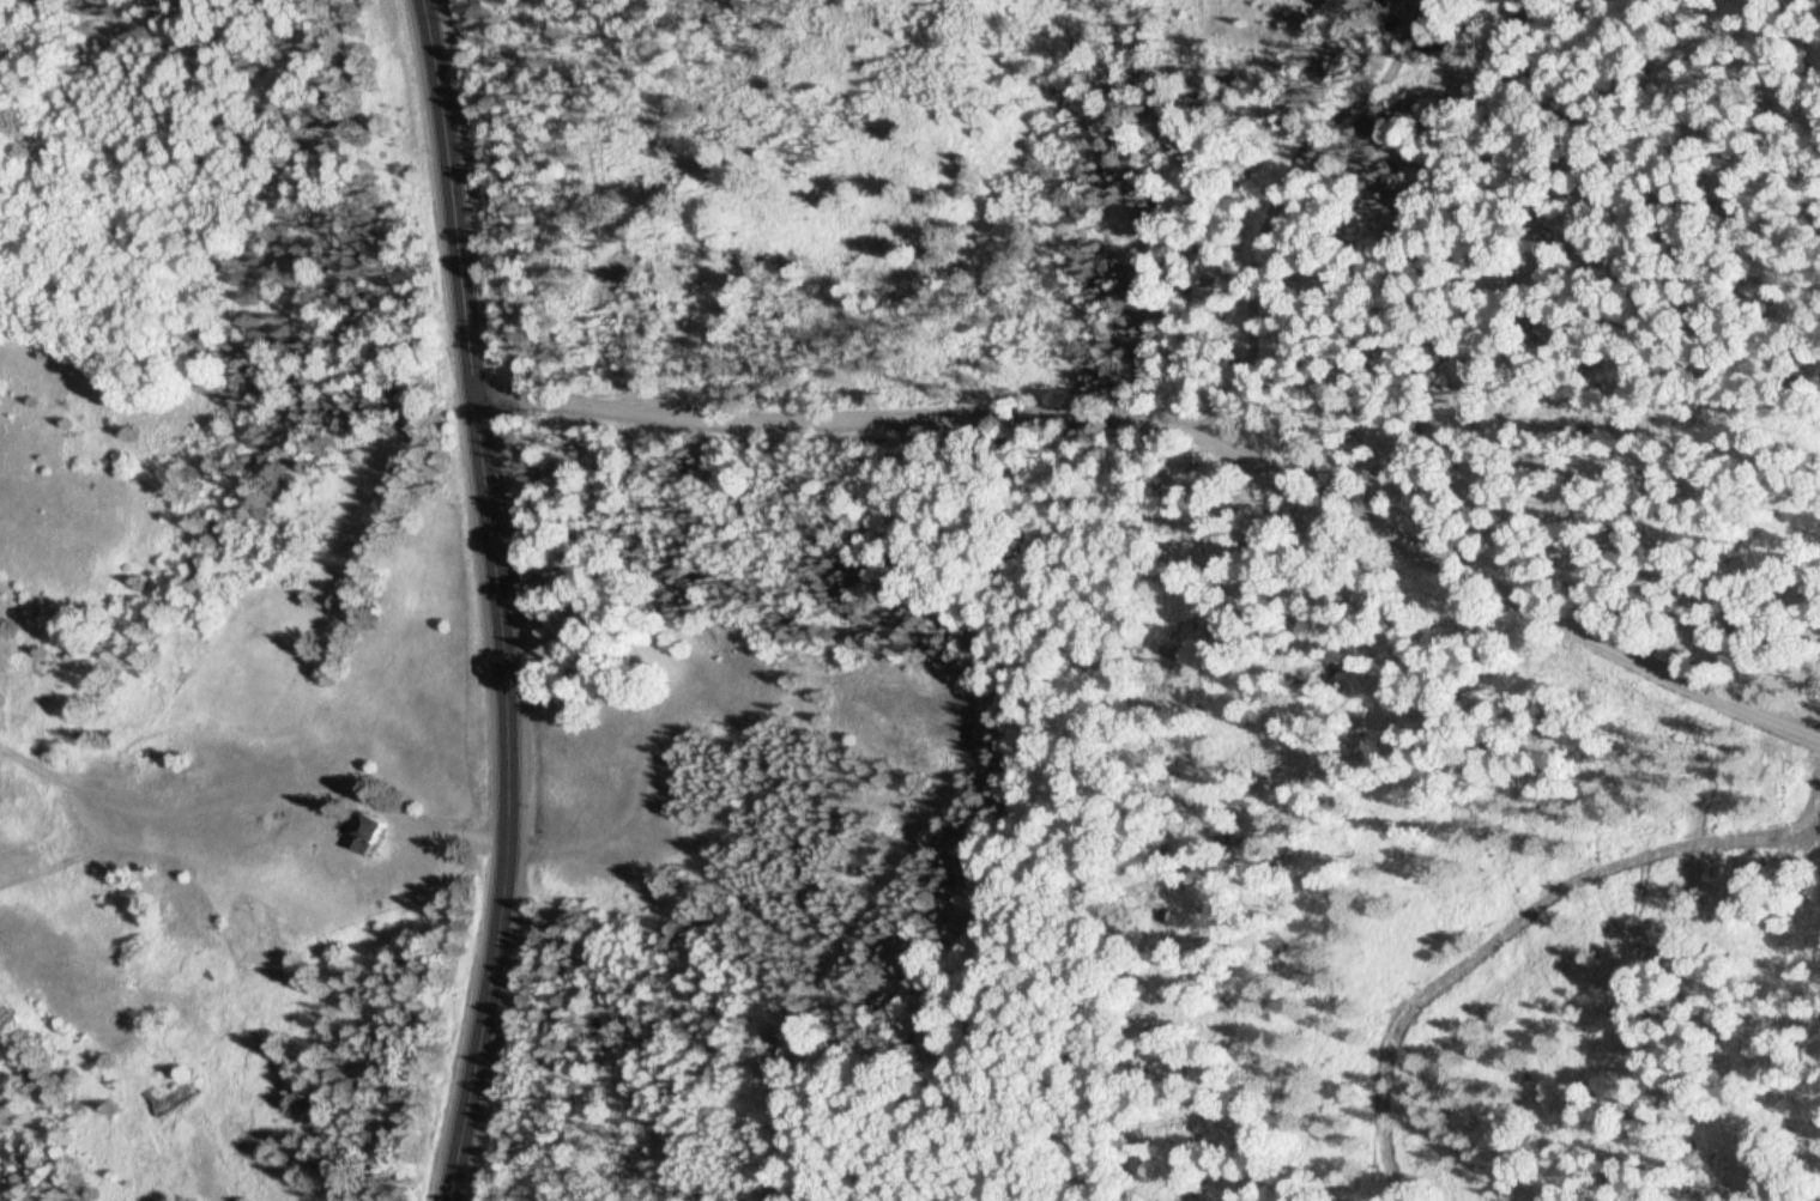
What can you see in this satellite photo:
road: (1299, 181)
road: (1189, 401)
road: (500, 601)
road: (329, 784)
building: (371, 837)

